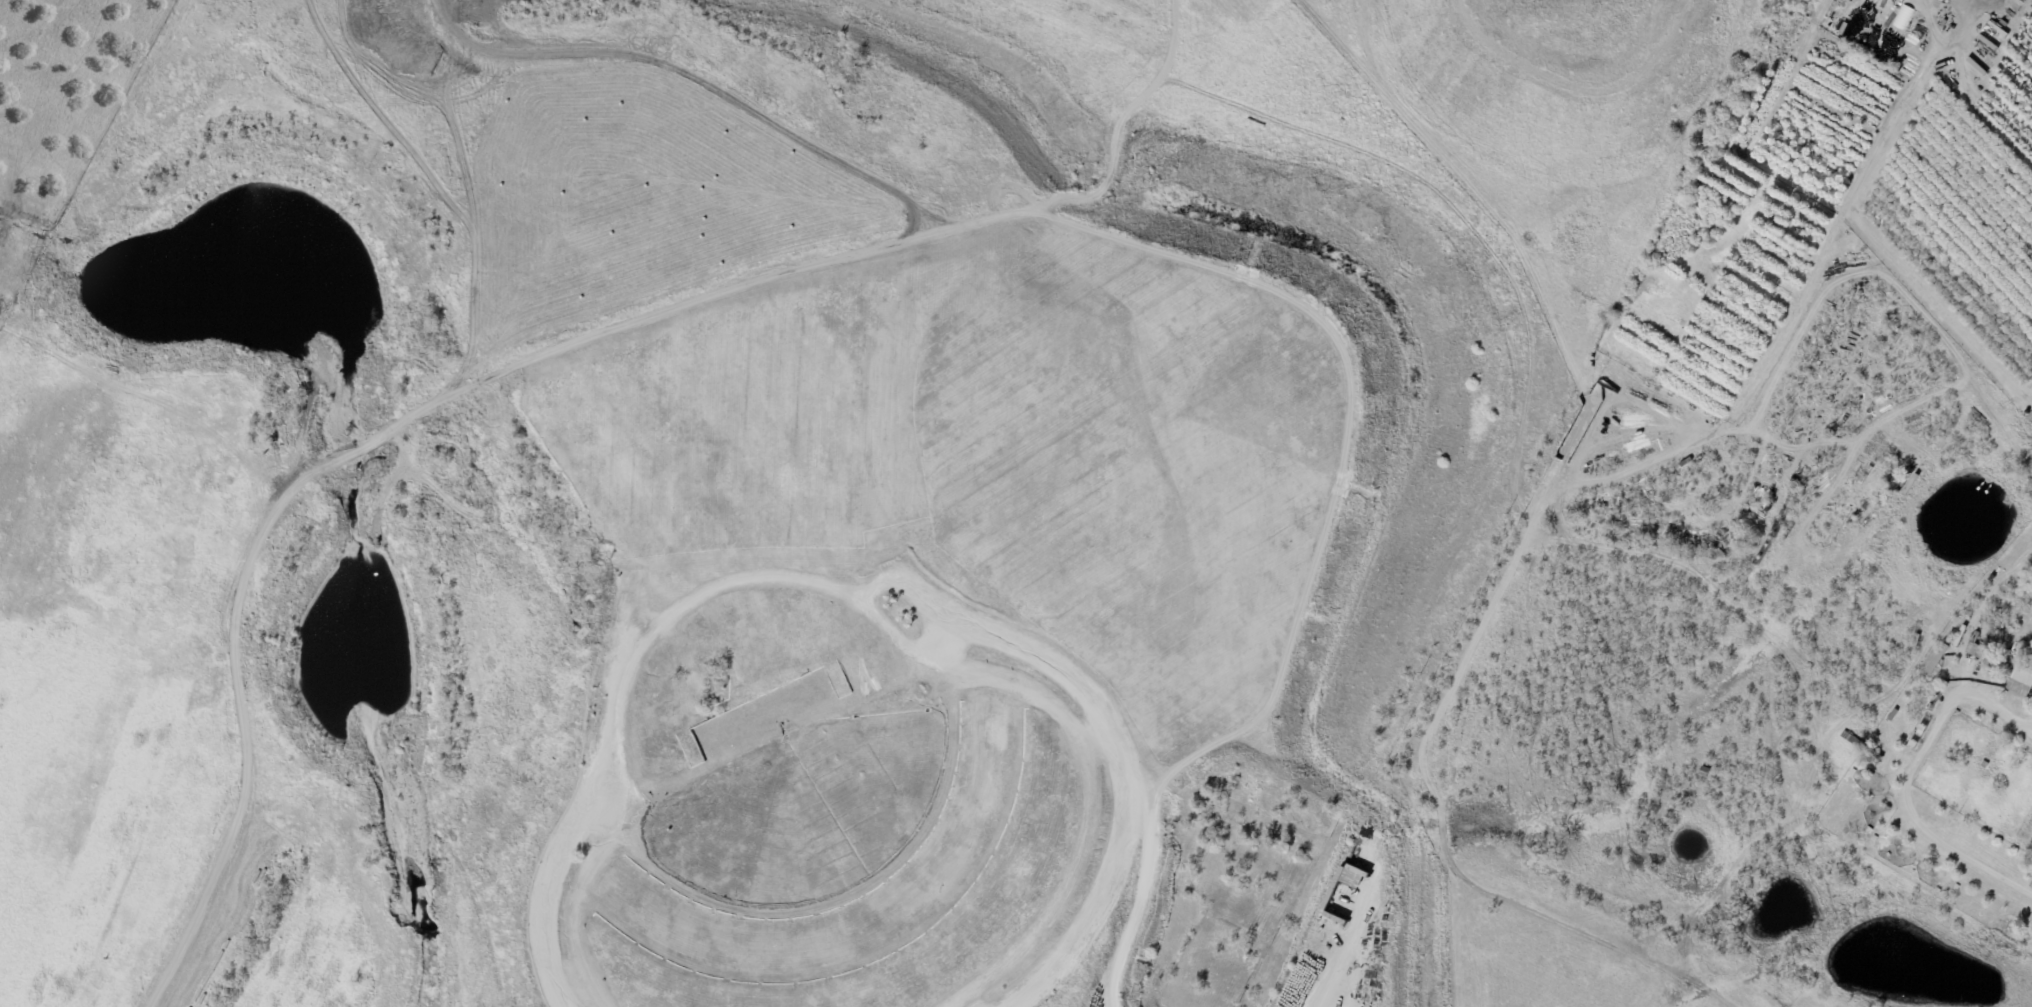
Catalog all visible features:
building: (1843, 27)
building: (2029, 417)
road: (1602, 478)
road: (1737, 611)
building: (1959, 636)
building: (1949, 637)
building: (1976, 647)
building: (1936, 659)
building: (1996, 662)
building: (2020, 680)
road: (1944, 712)
building: (1893, 714)
building: (1851, 739)
road: (2030, 739)
building: (1066, 743)
building: (1870, 755)
building: (1984, 764)
building: (1703, 771)
building: (1976, 829)
building: (1874, 838)
building: (1993, 840)
building: (2004, 847)
building: (2014, 856)
road: (1727, 876)
building: (1956, 887)
building: (1937, 890)
road: (1494, 892)
road: (1552, 932)

